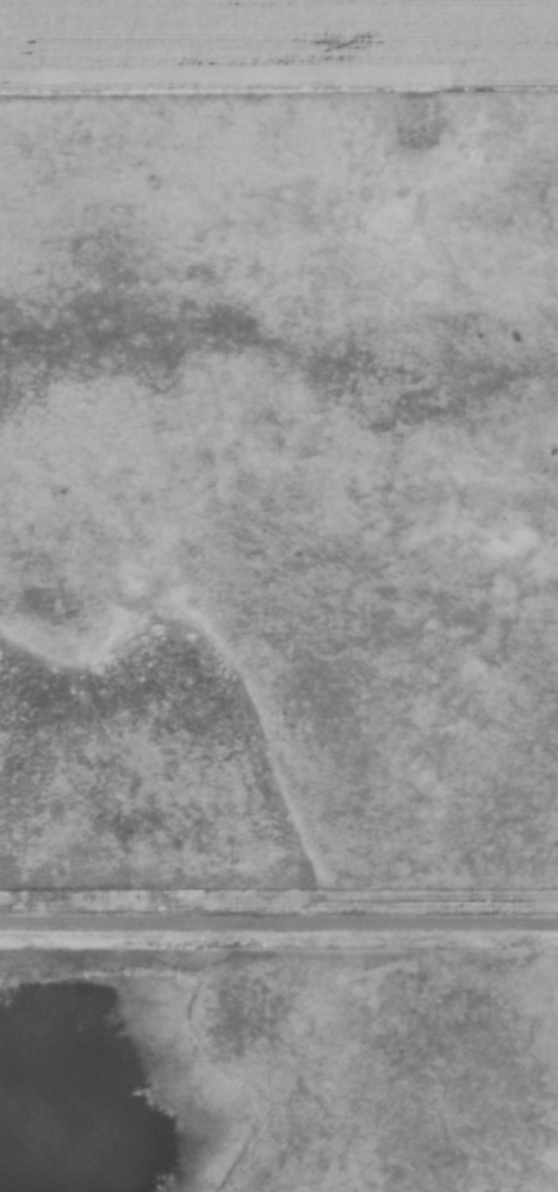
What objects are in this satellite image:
road: (279, 915)

